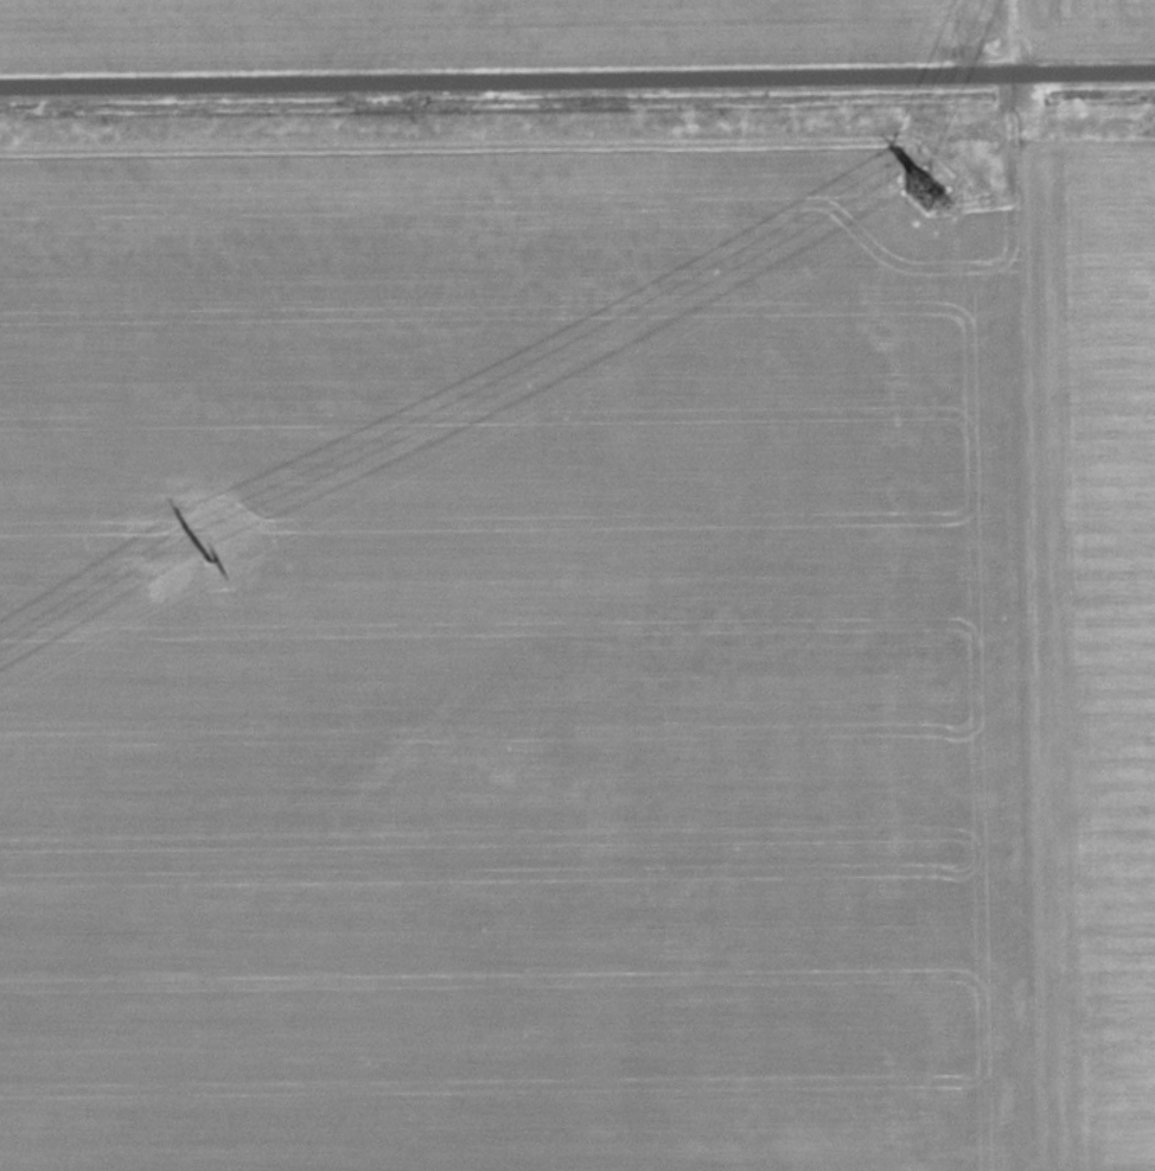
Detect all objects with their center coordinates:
road: (576, 76)
power tower: (915, 189)
power tower: (194, 549)

